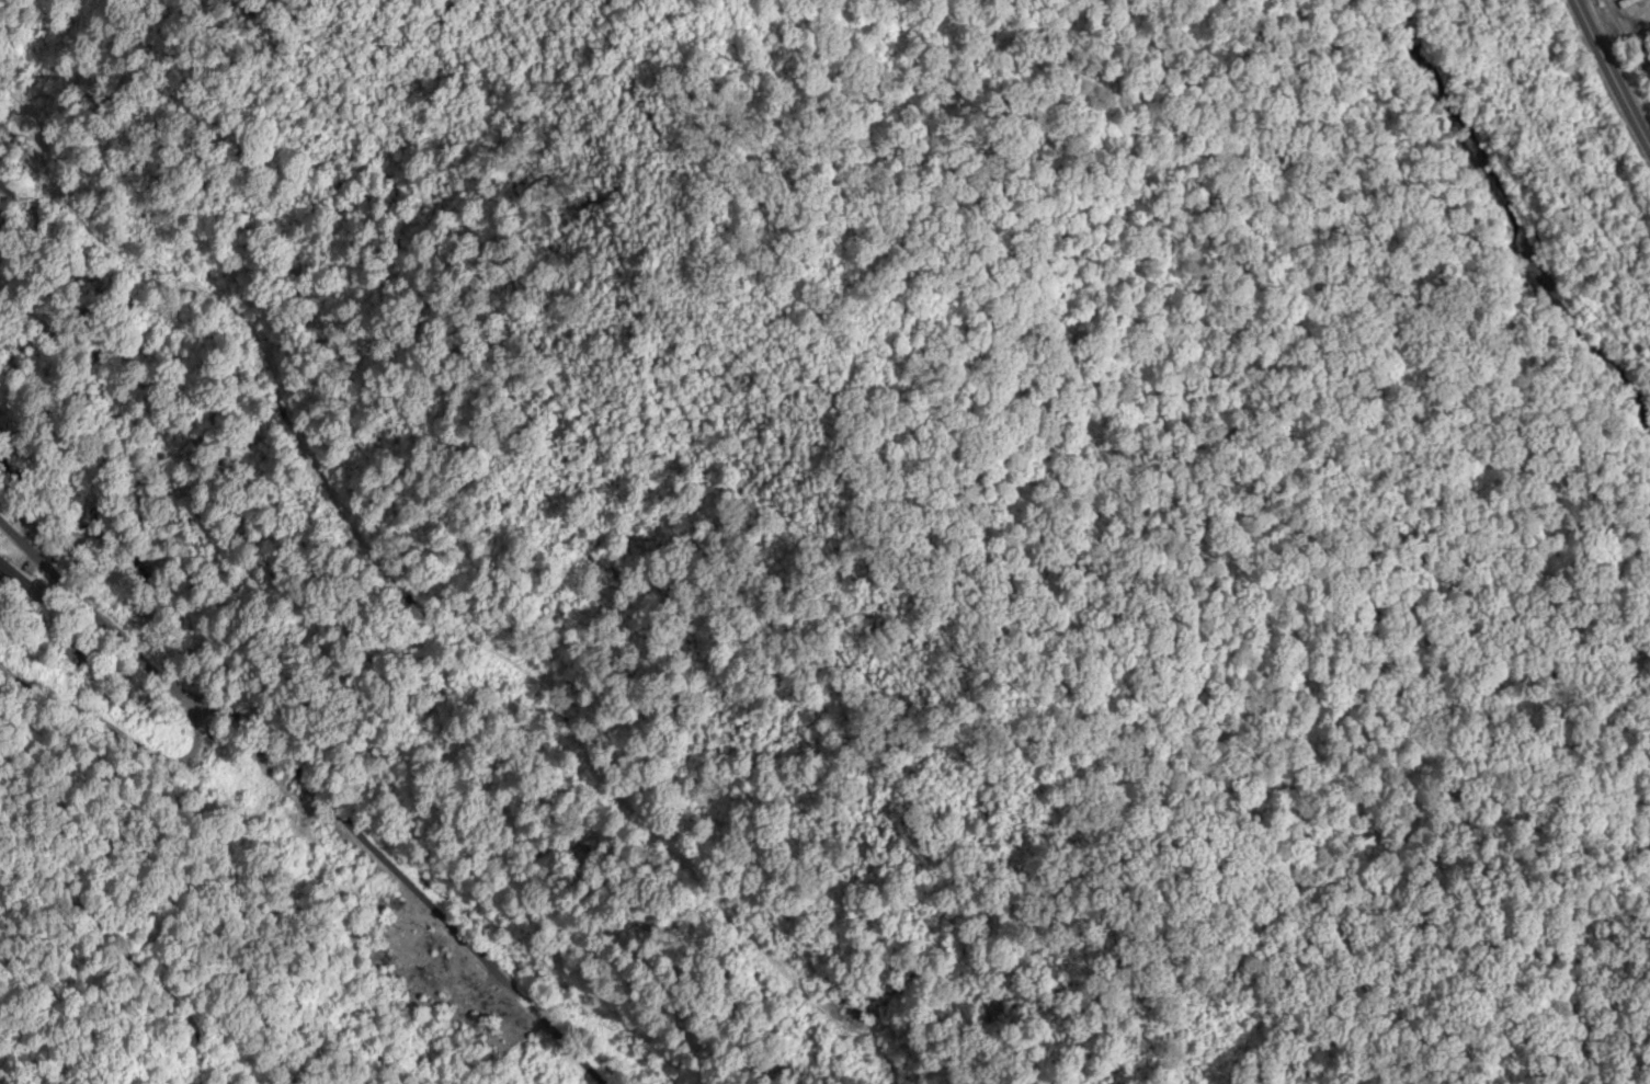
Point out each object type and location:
building: (1627, 3)
road: (1604, 98)
building: (20, 583)
building: (73, 652)
road: (320, 751)

